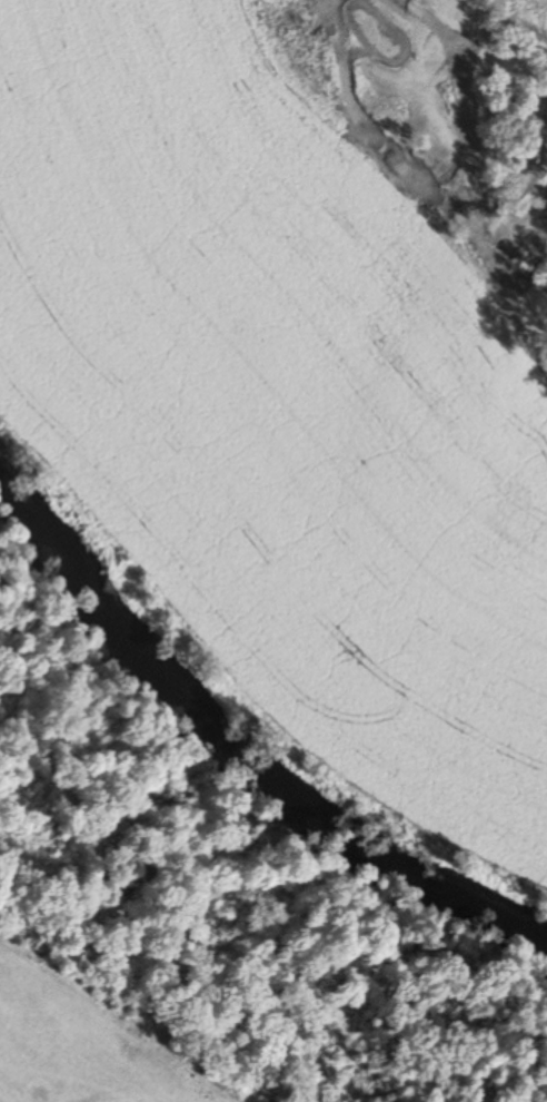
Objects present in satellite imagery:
river: (240, 755)

